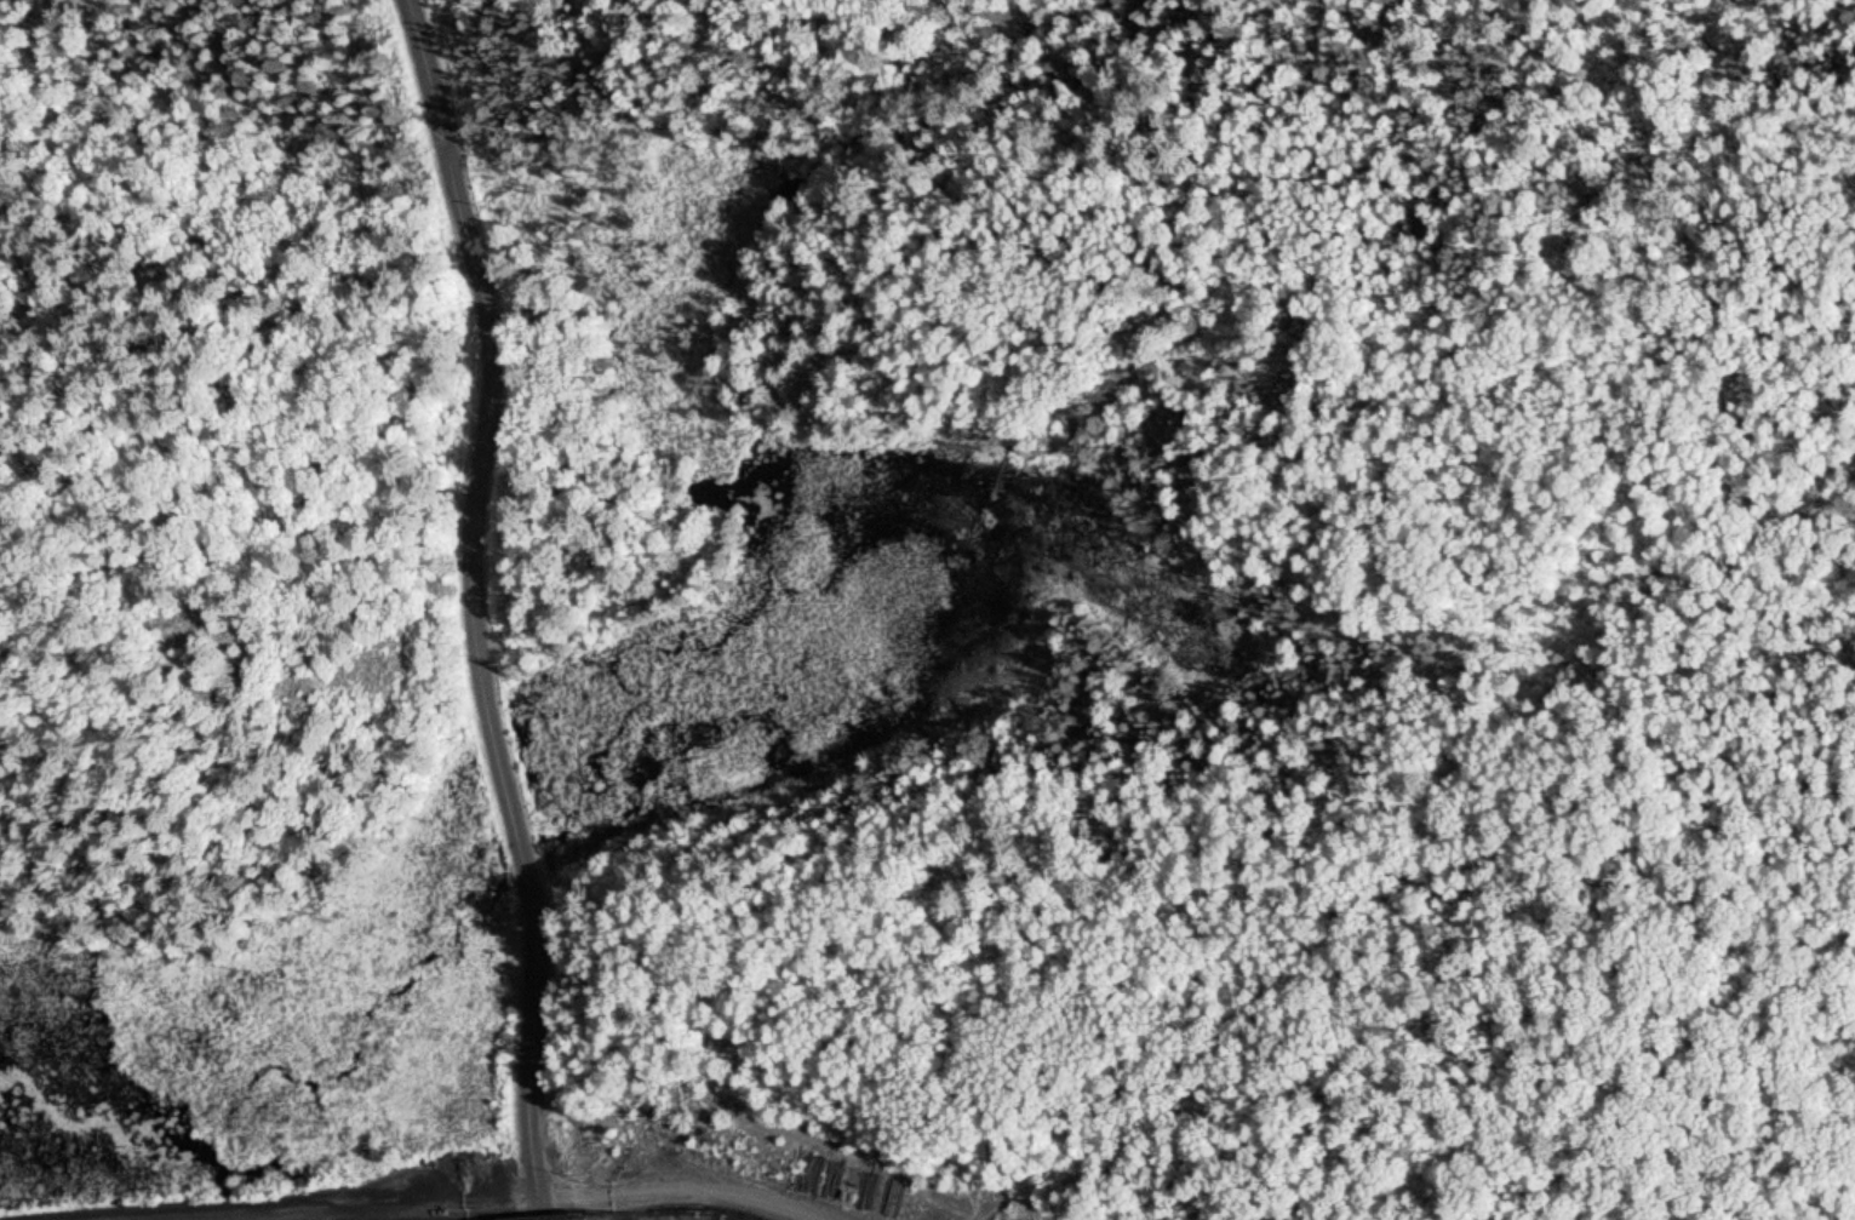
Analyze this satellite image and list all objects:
road: (769, 583)
road: (473, 611)

